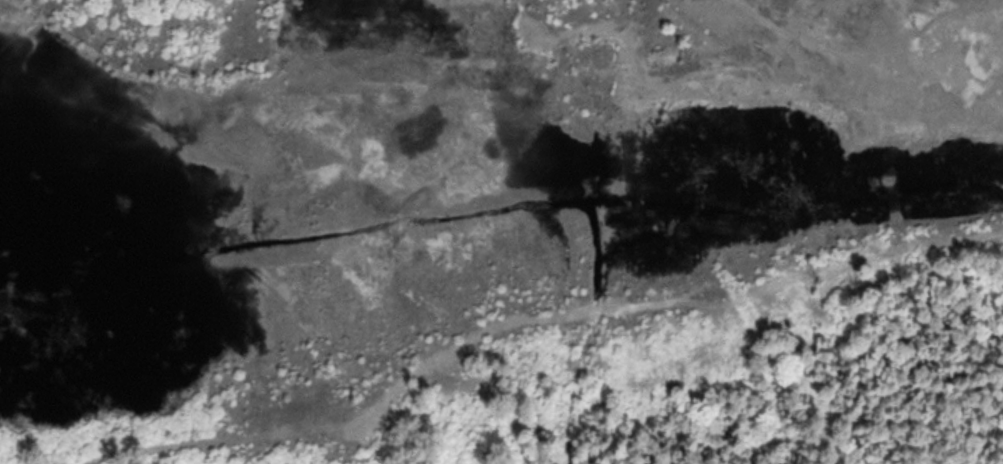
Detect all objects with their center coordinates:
road: (957, 12)

